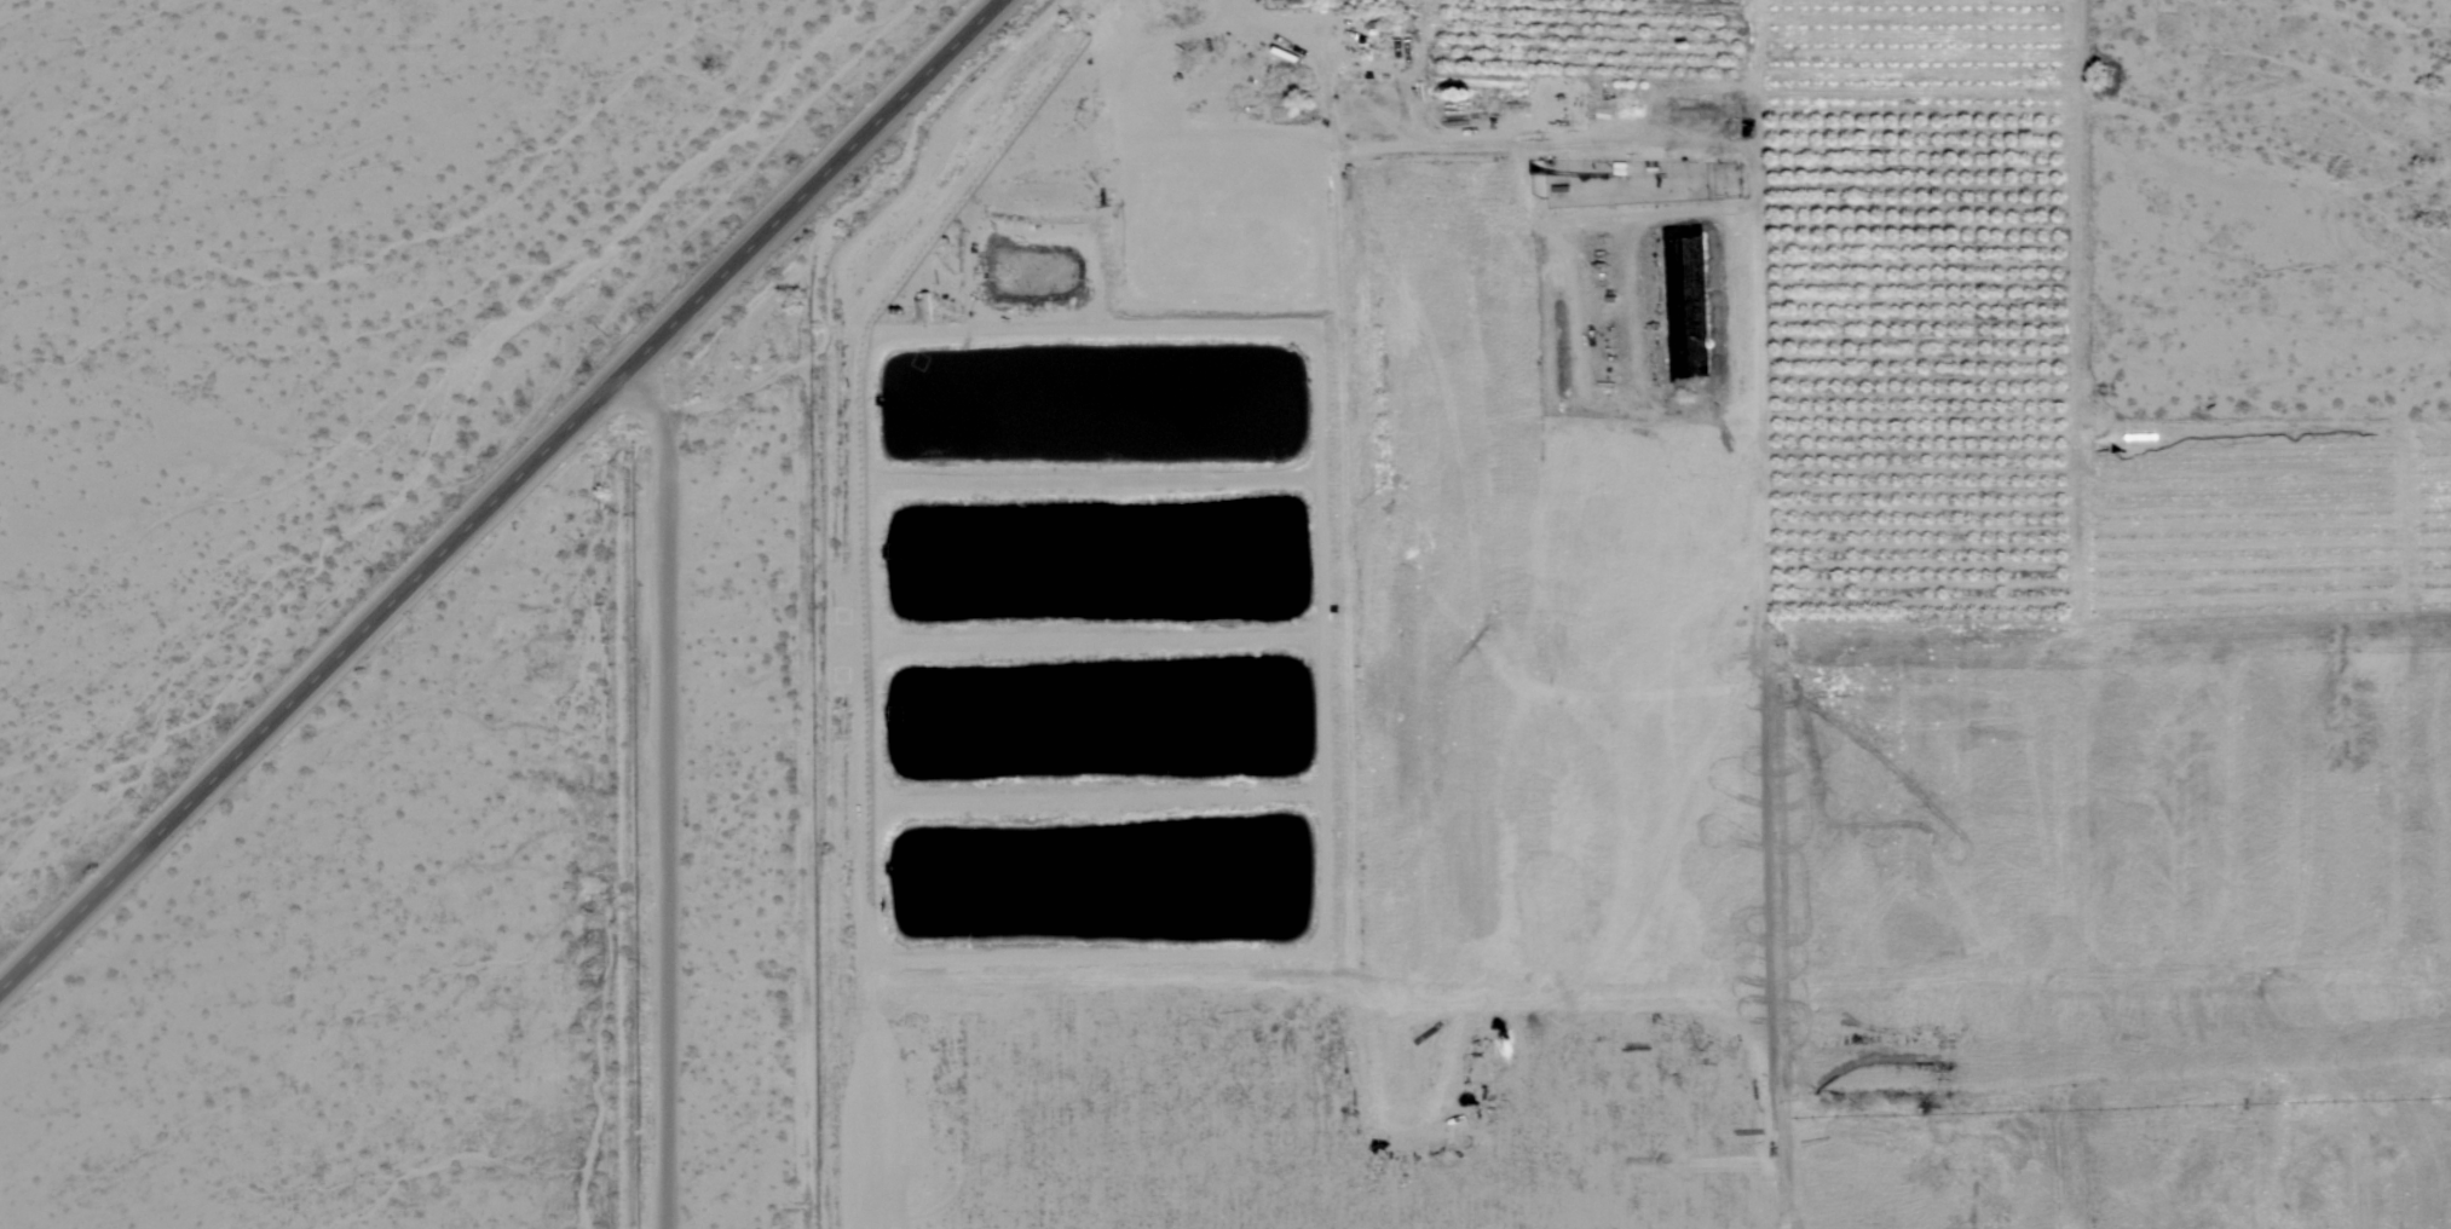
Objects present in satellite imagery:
building: (1345, 29)
building: (1620, 169)
road: (500, 494)

